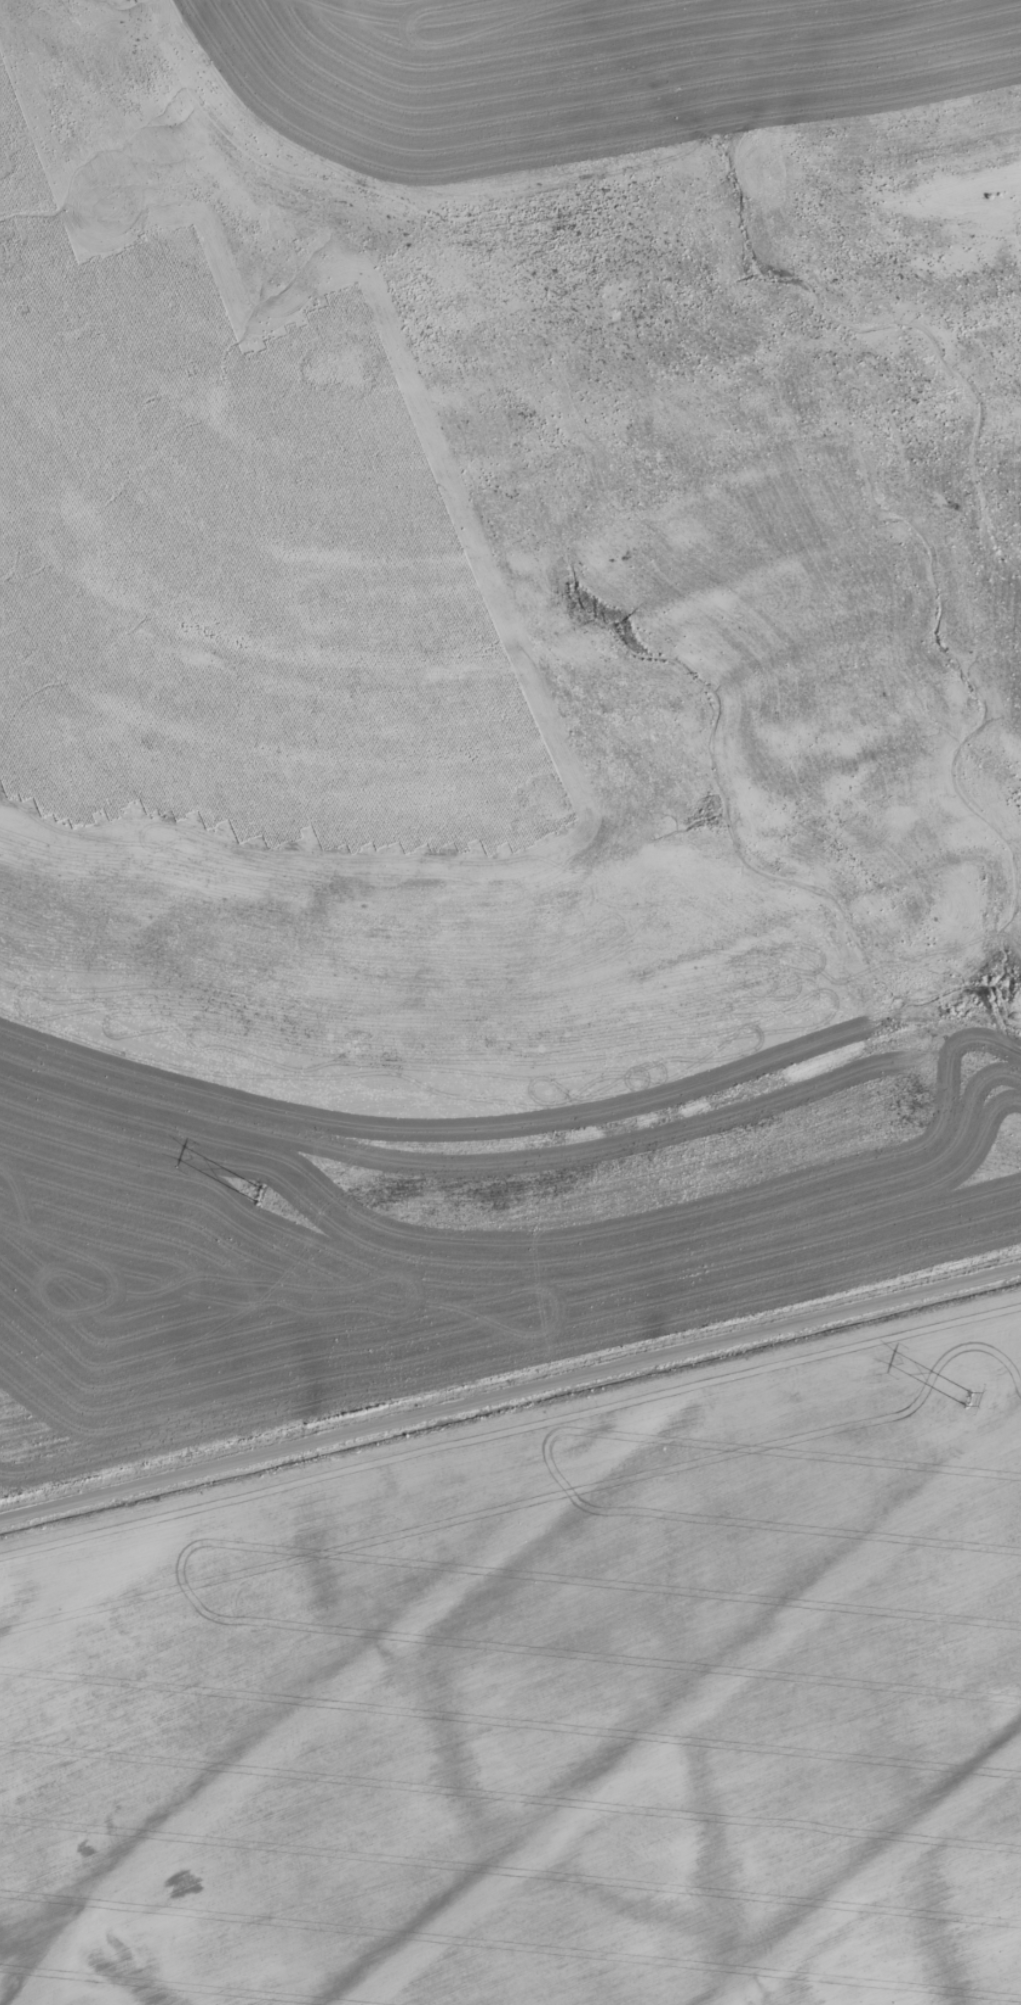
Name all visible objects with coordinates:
power tower: (252, 1193)
road: (510, 1388)
power tower: (960, 1398)

